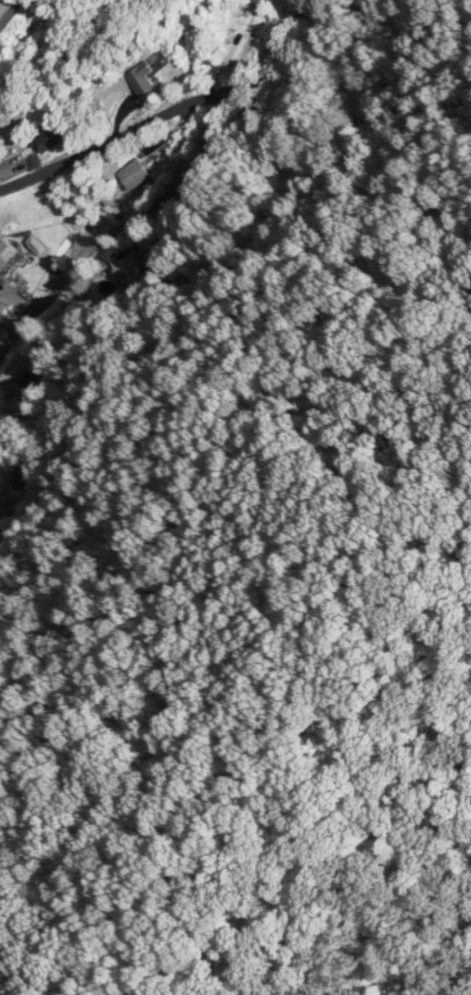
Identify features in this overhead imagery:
building: (256, 1)
building: (141, 78)
road: (175, 110)
building: (53, 136)
building: (134, 173)
road: (174, 192)
building: (6, 251)
building: (130, 268)
building: (27, 381)

